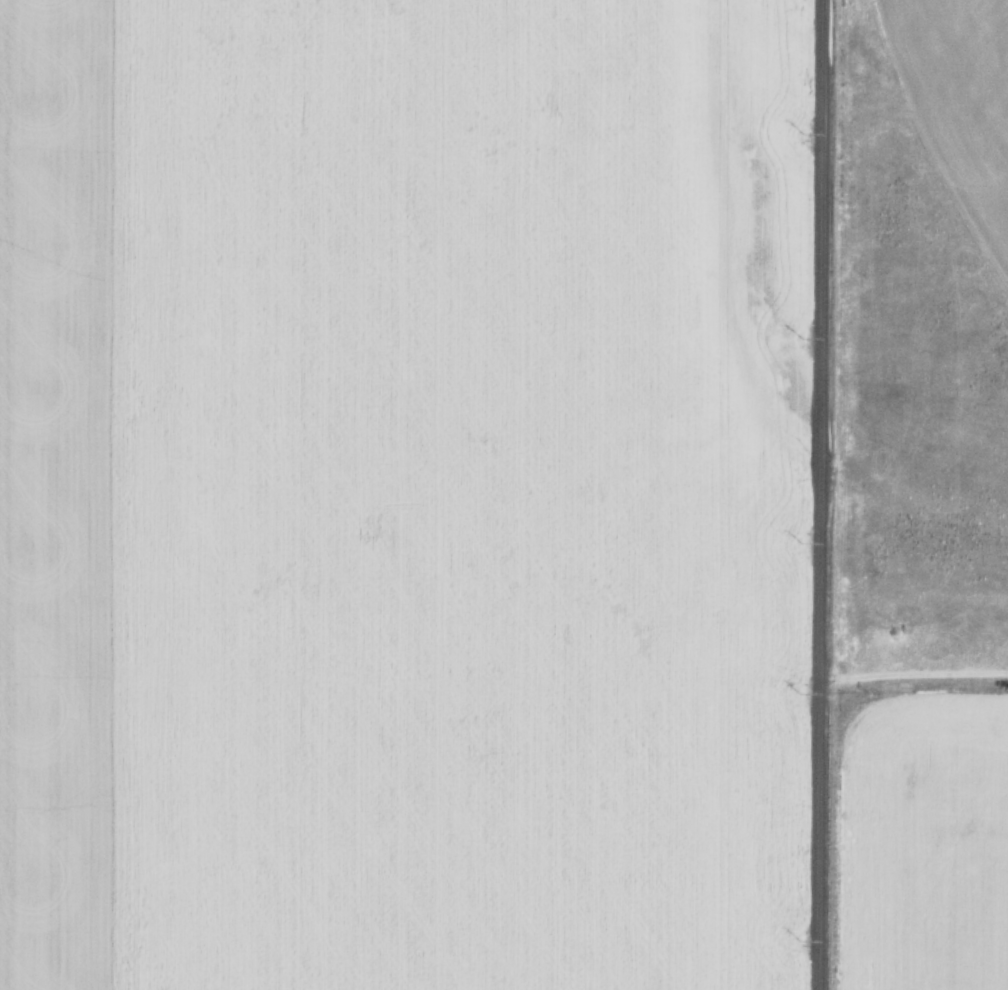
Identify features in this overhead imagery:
road: (820, 495)

